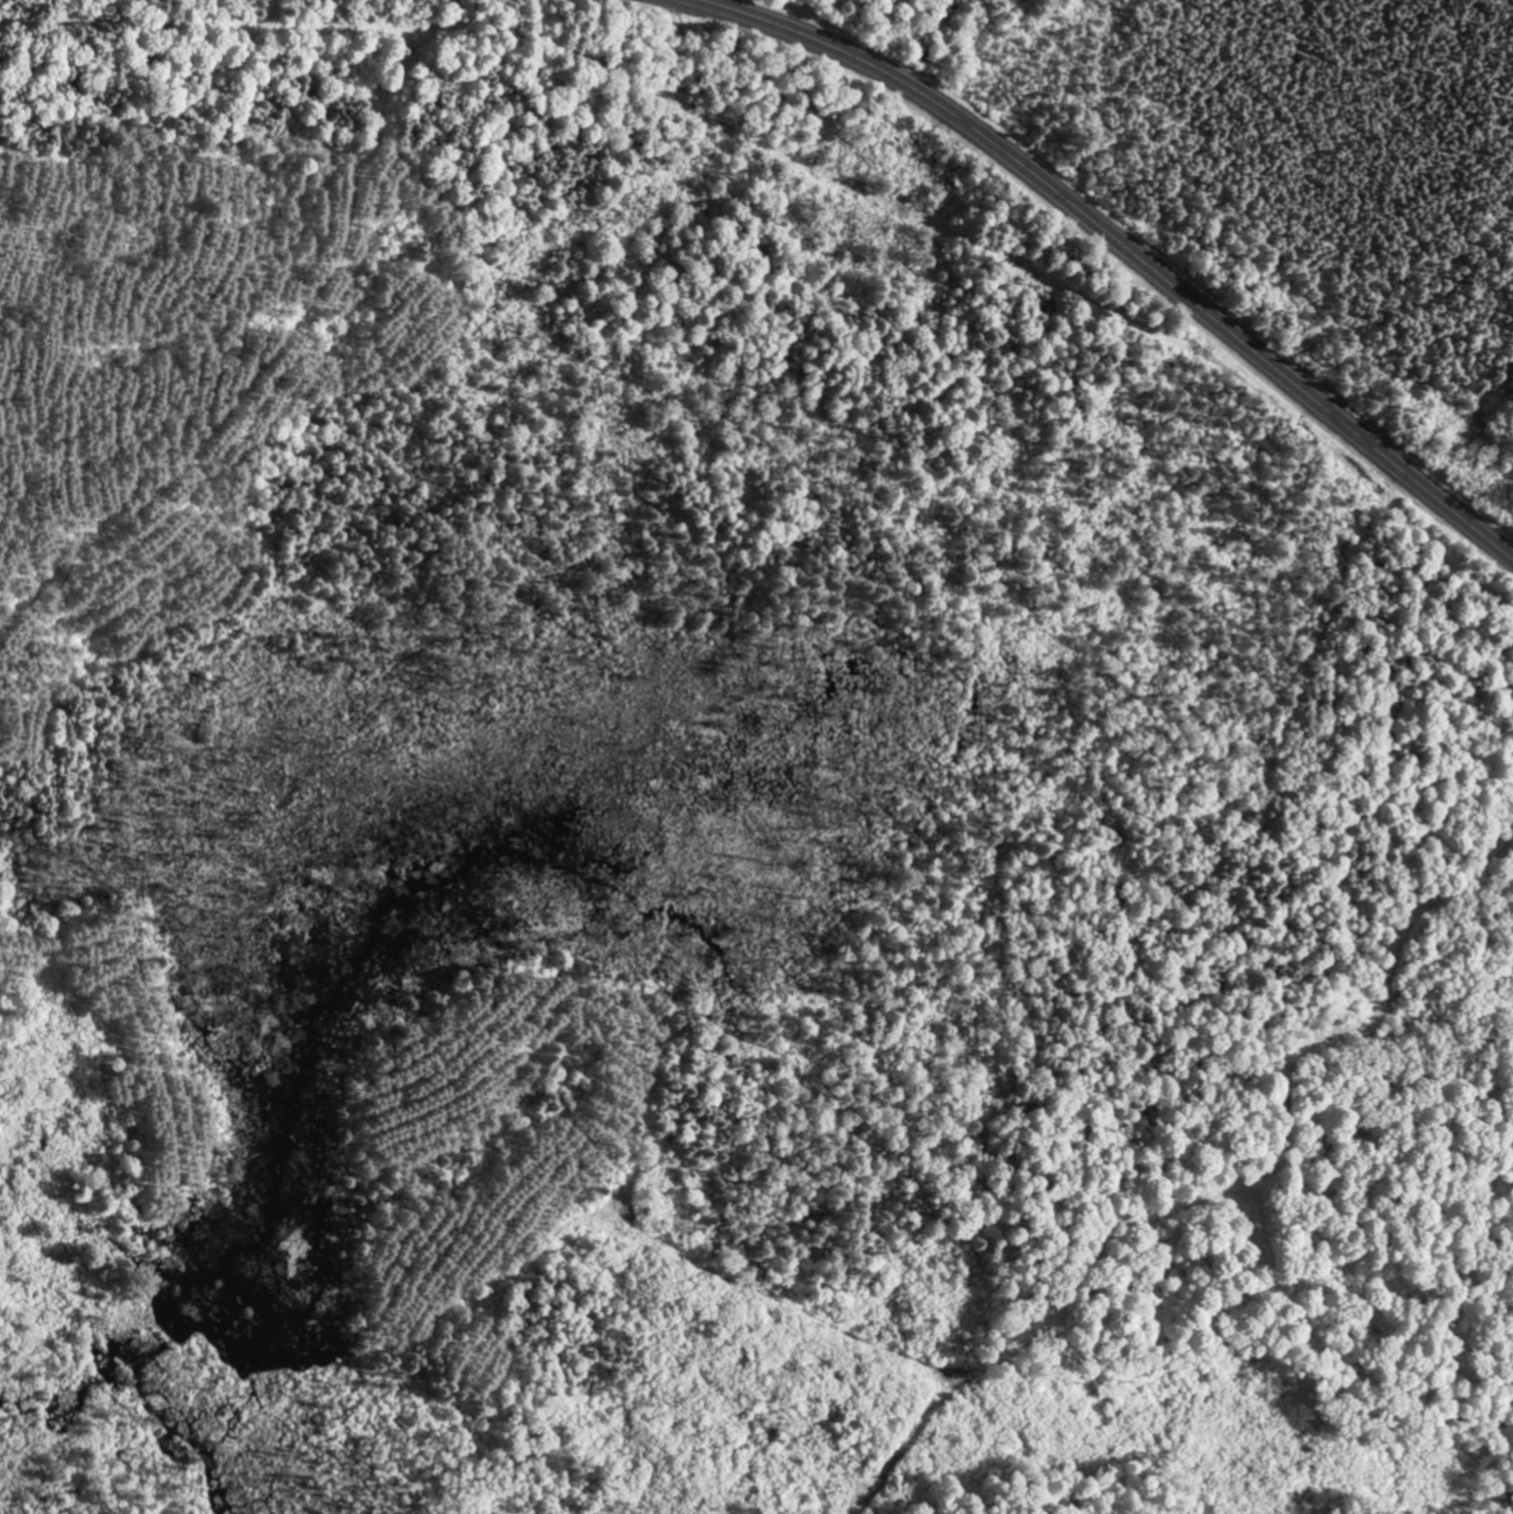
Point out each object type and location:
road: (1123, 244)

